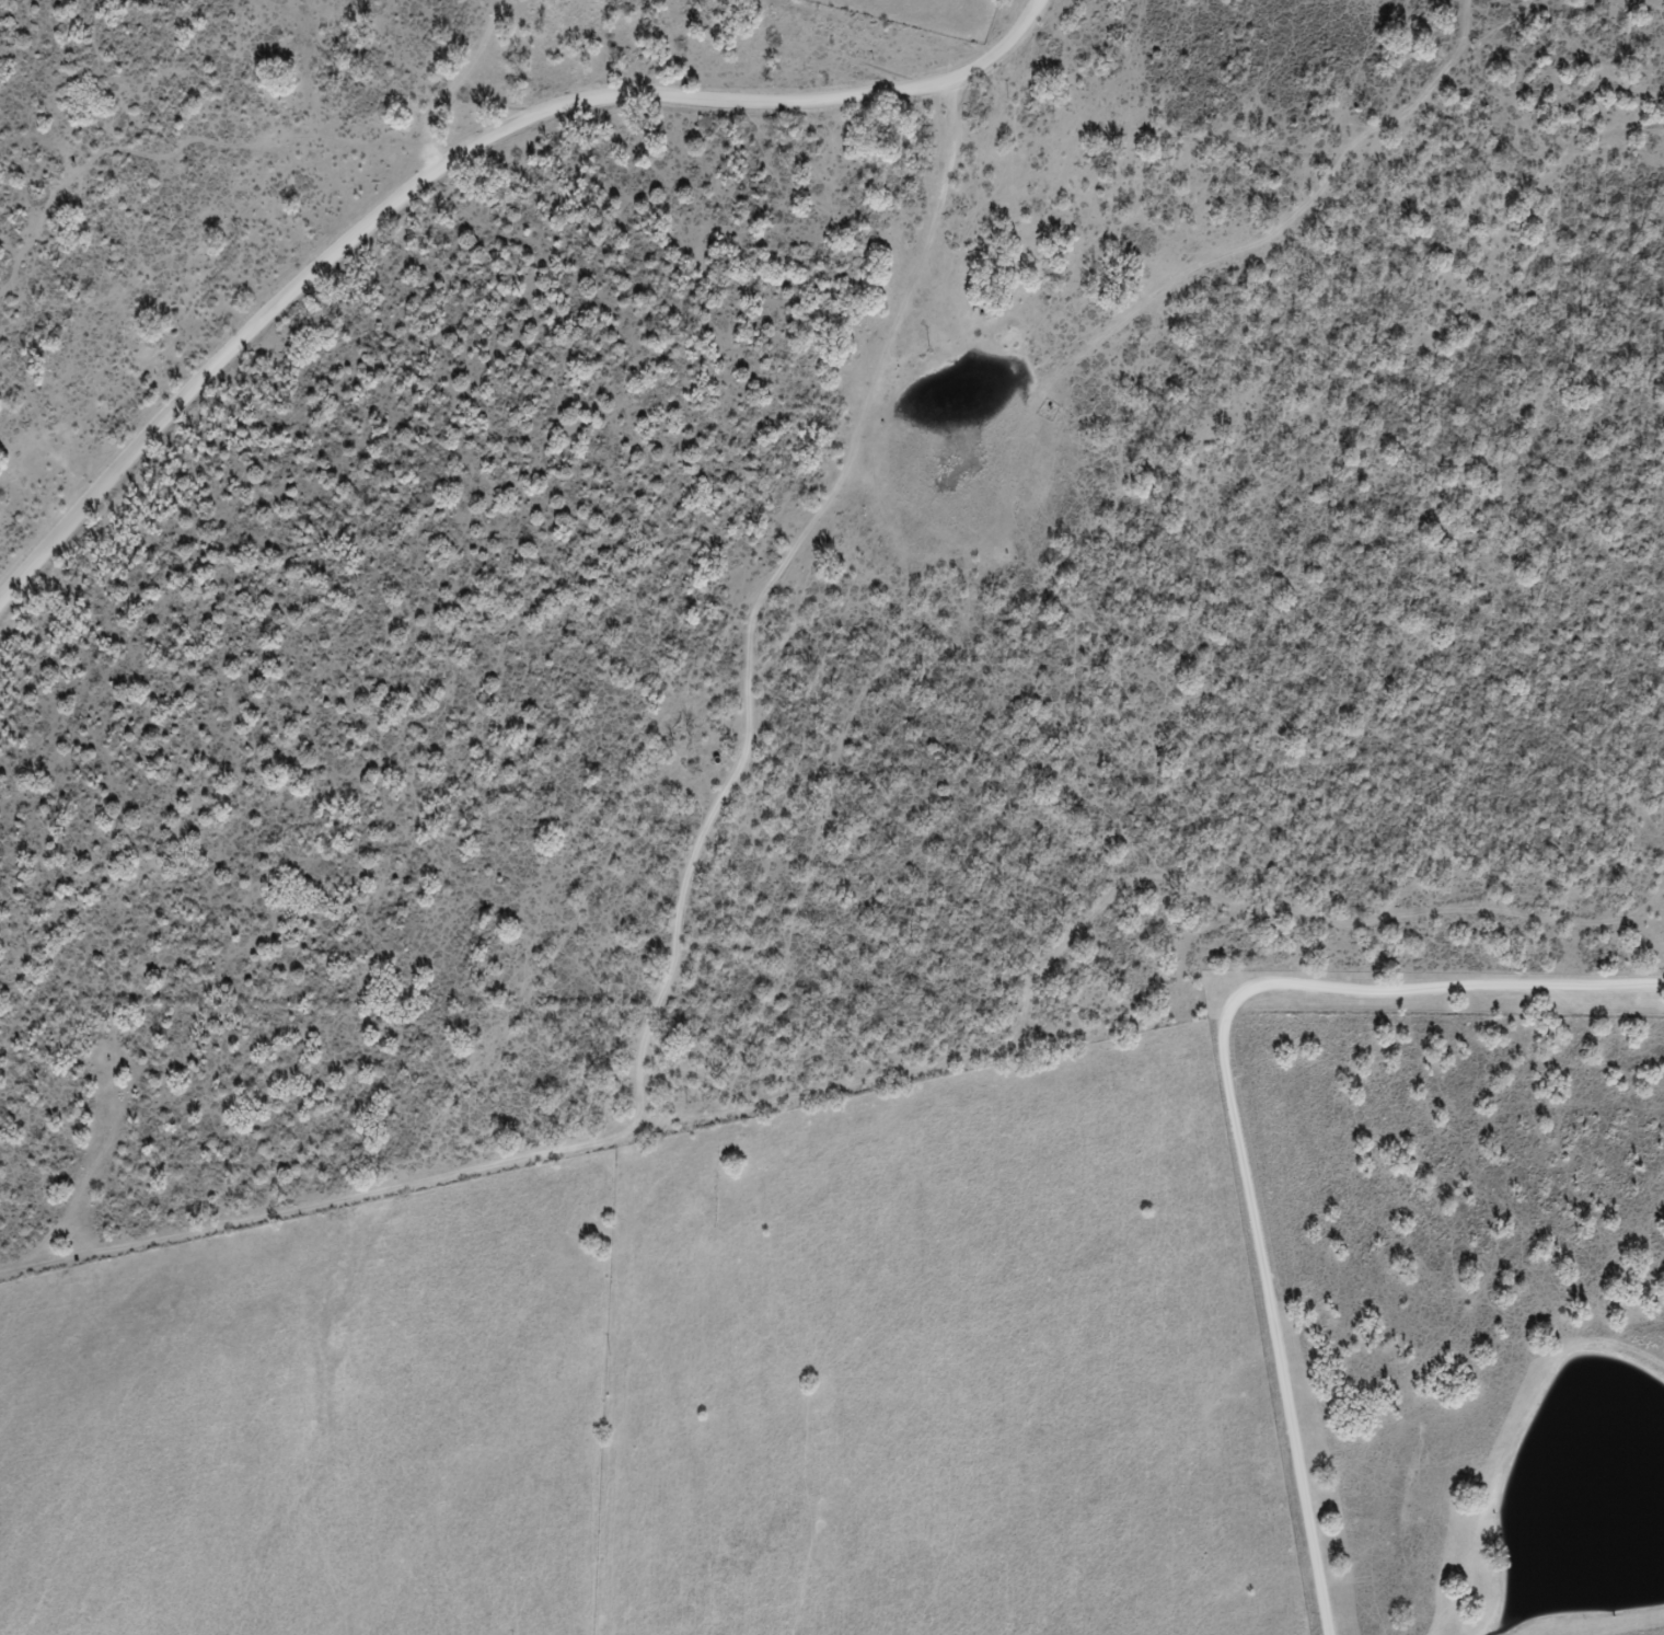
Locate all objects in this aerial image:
road: (427, 220)
road: (906, 359)

